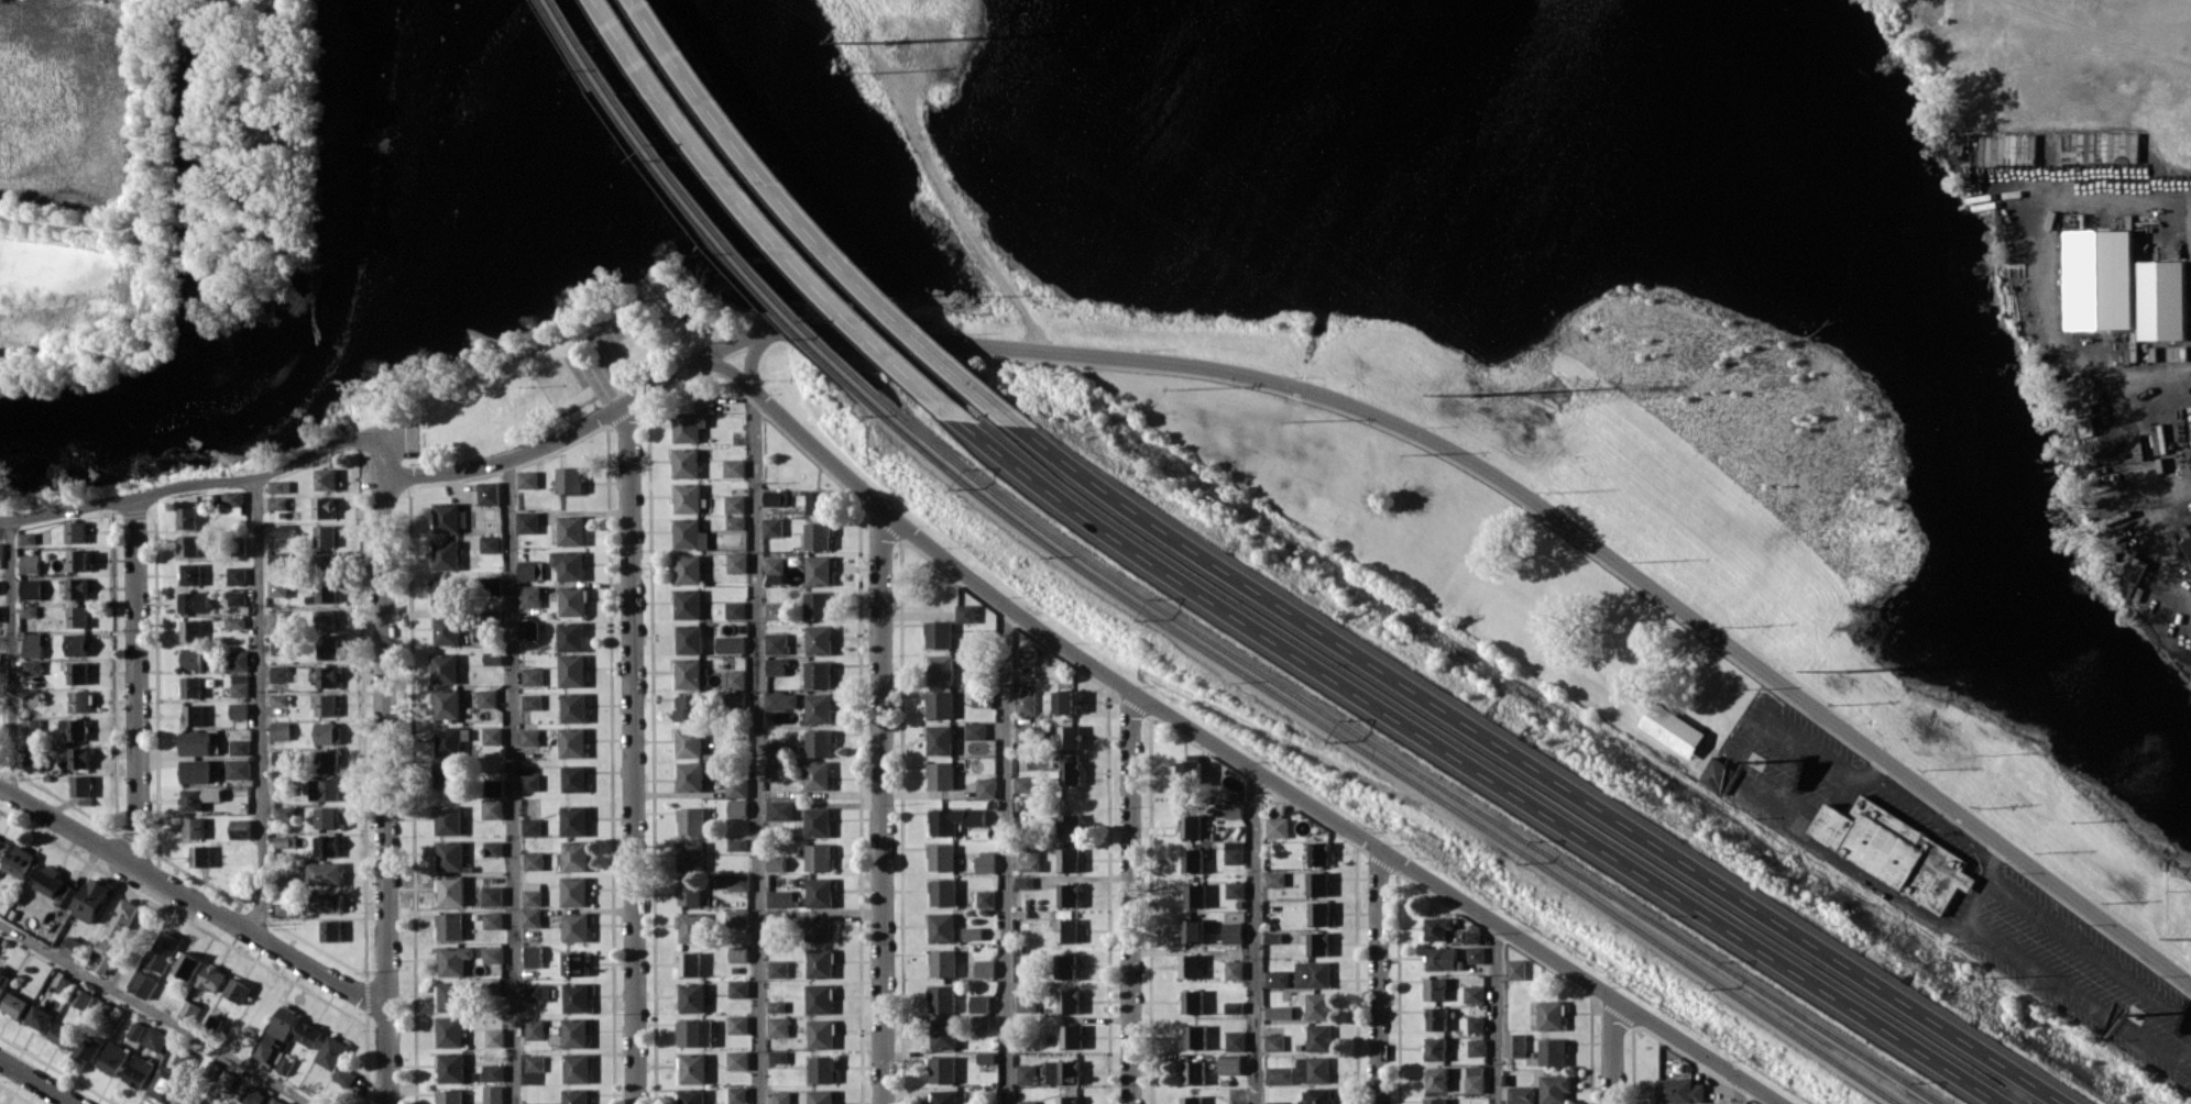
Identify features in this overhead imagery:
road: (2099, 32)
power tower: (887, 42)
road: (149, 117)
wastewater plant: (147, 183)
road: (941, 191)
railway: (709, 213)
railway: (697, 218)
road: (771, 223)
road: (817, 225)
building: (2094, 280)
road: (142, 294)
building: (2159, 299)
building: (678, 306)
road: (702, 313)
river: (412, 321)
road: (682, 334)
park: (565, 358)
power tower: (1471, 394)
power tower: (1556, 394)
river: (1956, 406)
road: (1357, 409)
building: (693, 420)
building: (686, 462)
building: (733, 467)
building: (327, 478)
building: (528, 478)
building: (570, 479)
road: (210, 482)
building: (281, 486)
building: (490, 493)
building: (688, 497)
building: (774, 497)
building: (815, 501)
building: (235, 503)
building: (278, 503)
building: (733, 504)
building: (325, 507)
building: (188, 517)
building: (448, 517)
building: (528, 521)
building: (734, 522)
building: (770, 527)
building: (282, 530)
building: (571, 530)
building: (77, 531)
building: (689, 533)
building: (326, 534)
building: (814, 536)
building: (28, 538)
building: (2190, 539)
building: (491, 543)
building: (190, 545)
building: (2188, 549)
building: (1, 550)
building: (447, 554)
building: (327, 557)
building: (79, 560)
building: (31, 563)
building: (569, 564)
building: (773, 564)
building: (688, 568)
building: (530, 570)
building: (817, 570)
building: (193, 574)
building: (238, 575)
building: (78, 587)
building: (33, 588)
building: (280, 588)
building: (328, 590)
building: (445, 593)
building: (530, 596)
building: (238, 597)
building: (572, 600)
building: (196, 601)
building: (687, 604)
building: (815, 605)
building: (733, 609)
building: (30, 610)
building: (773, 610)
building: (962, 612)
building: (0, 614)
building: (79, 616)
building: (280, 617)
building: (491, 618)
building: (326, 619)
building: (235, 621)
power tower: (1877, 625)
building: (528, 629)
building: (193, 630)
building: (448, 630)
building: (936, 633)
building: (571, 636)
building: (688, 639)
building: (818, 639)
building: (775, 642)
building: (728, 643)
building: (34, 644)
building: (78, 644)
building: (282, 645)
building: (0, 647)
building: (329, 648)
road: (13, 656)
building: (194, 658)
building: (493, 658)
building: (239, 660)
building: (34, 666)
building: (774, 666)
building: (445, 667)
building: (938, 669)
building: (571, 670)
power tower: (1844, 670)
building: (78, 672)
building: (280, 673)
building: (688, 673)
building: (817, 674)
building: (532, 675)
building: (328, 676)
building: (734, 678)
road: (136, 681)
building: (240, 685)
building: (193, 686)
building: (978, 696)
building: (34, 697)
building: (488, 698)
building: (281, 699)
building: (735, 699)
building: (81, 700)
building: (780, 700)
building: (532, 702)
building: (1021, 702)
building: (1062, 702)
building: (447, 703)
road: (261, 705)
building: (326, 705)
building: (936, 705)
building: (573, 707)
building: (688, 707)
building: (817, 708)
building: (239, 710)
building: (195, 715)
road: (755, 715)
building: (34, 726)
building: (1669, 726)
building: (76, 728)
building: (281, 730)
building: (973, 730)
building: (329, 732)
building: (1021, 732)
building: (492, 735)
building: (529, 737)
building: (1065, 737)
building: (936, 739)
building: (450, 740)
building: (197, 742)
building: (572, 742)
building: (688, 742)
building: (818, 742)
building: (241, 747)
building: (774, 749)
road: (1219, 751)
road: (632, 752)
building: (80, 757)
building: (283, 757)
building: (329, 761)
building: (35, 762)
railway: (1404, 764)
railway: (1387, 766)
road: (1537, 766)
road: (1873, 766)
building: (239, 769)
building: (1066, 769)
road: (1479, 769)
road: (385, 770)
building: (774, 770)
building: (197, 771)
building: (1185, 772)
building: (449, 774)
building: (938, 774)
building: (1717, 774)
building: (815, 775)
building: (689, 776)
building: (573, 779)
road: (512, 781)
building: (529, 782)
building: (1019, 783)
building: (83, 785)
building: (494, 786)
building: (736, 786)
building: (984, 787)
building: (326, 790)
building: (200, 797)
road: (878, 805)
building: (493, 808)
building: (736, 808)
building: (1229, 809)
building: (778, 810)
building: (285, 813)
road: (1929, 817)
building: (329, 818)
building: (449, 819)
building: (952, 819)
building: (573, 820)
building: (690, 821)
building: (815, 821)
building: (1065, 825)
building: (1186, 826)
building: (195, 827)
building: (530, 827)
building: (1272, 827)
building: (241, 828)
building: (285, 841)
building: (735, 843)
building: (329, 846)
building: (3, 848)
building: (492, 848)
building: (1888, 850)
building: (1229, 852)
building: (1314, 852)
building: (450, 854)
road: (1003, 854)
building: (201, 855)
building: (576, 855)
building: (690, 855)
building: (817, 857)
building: (940, 857)
building: (1026, 857)
building: (1065, 859)
building: (1187, 859)
building: (20, 861)
building: (534, 861)
building: (983, 861)
road: (1992, 861)
building: (775, 863)
building: (326, 873)
building: (1271, 879)
building: (737, 882)
building: (1021, 882)
building: (1314, 883)
building: (56, 886)
parking lot: (1950, 888)
building: (451, 890)
building: (1231, 890)
building: (573, 891)
building: (819, 892)
building: (941, 892)
building: (533, 893)
building: (689, 893)
building: (1065, 894)
building: (492, 895)
building: (1191, 895)
road: (1128, 897)
building: (780, 898)
building: (983, 898)
building: (92, 899)
road: (194, 899)
building: (328, 902)
building: (286, 903)
building: (1315, 913)
building: (530, 917)
building: (736, 917)
building: (493, 920)
building: (450, 926)
building: (576, 926)
building: (119, 927)
building: (691, 927)
building: (818, 927)
building: (940, 927)
building: (1433, 927)
building: (331, 930)
building: (1064, 930)
building: (1188, 930)
building: (971, 932)
building: (1229, 932)
road: (1250, 937)
building: (1314, 943)
building: (73, 946)
building: (163, 950)
road: (2089, 951)
building: (737, 953)
building: (493, 954)
building: (1471, 954)
building: (533, 956)
building: (1437, 958)
building: (454, 959)
building: (819, 962)
building: (942, 962)
building: (576, 963)
building: (689, 963)
building: (188, 964)
building: (1062, 964)
building: (1186, 965)
building: (983, 968)
building: (777, 969)
building: (1511, 969)
building: (1230, 970)
building: (1308, 974)
road: (1373, 975)
building: (3, 978)
building: (212, 978)
building: (1273, 979)
road: (2052, 981)
building: (144, 984)
building: (66, 985)
building: (738, 987)
building: (1431, 989)
building: (238, 990)
building: (538, 992)
building: (1470, 993)
building: (452, 996)
building: (577, 996)
building: (83, 997)
building: (692, 997)
building: (819, 997)
building: (940, 998)
building: (1066, 1001)
building: (1023, 1002)
building: (1188, 1002)
building: (978, 1003)
building: (15, 1004)
building: (1314, 1005)
building: (776, 1006)
building: (1230, 1007)
building: (190, 1009)
building: (1275, 1012)
road: (1491, 1013)
road: (154, 1014)
building: (1547, 1014)
building: (41, 1017)
building: (1433, 1018)
building: (979, 1023)
building: (737, 1024)
building: (1471, 1024)
building: (777, 1026)
building: (535, 1029)
building: (277, 1031)
building: (450, 1031)
building: (576, 1033)
building: (694, 1033)
building: (942, 1033)
building: (63, 1034)
building: (309, 1034)
building: (820, 1034)
building: (1070, 1036)
building: (495, 1037)
building: (1193, 1037)
building: (1315, 1037)
building: (156, 1039)
building: (1233, 1040)
building: (1270, 1042)
building: (1511, 1045)
building: (1472, 1047)
building: (88, 1048)
building: (1432, 1048)
road: (1607, 1050)
building: (1548, 1051)
building: (332, 1052)
building: (777, 1057)
building: (114, 1058)
building: (185, 1058)
building: (984, 1058)
building: (737, 1060)
building: (535, 1062)
building: (1227, 1063)
building: (285, 1064)
building: (452, 1067)
building: (577, 1068)
building: (693, 1068)
building: (822, 1069)
building: (941, 1069)
building: (1310, 1069)
road: (2189, 1069)
building: (140, 1071)
building: (1061, 1071)
building: (1192, 1071)
building: (493, 1072)
building: (1025, 1073)
building: (1275, 1075)
building: (344, 1077)
building: (1471, 1078)
building: (1433, 1079)
building: (227, 1080)
road: (37, 1081)
building: (165, 1083)
building: (1551, 1089)
road: (1734, 1090)
building: (1675, 1091)
building: (493, 1094)
building: (1516, 1094)
building: (253, 1095)
building: (576, 1095)
building: (737, 1095)
building: (1313, 1095)
building: (450, 1096)
building: (691, 1096)
building: (820, 1096)
building: (943, 1096)
building: (780, 1097)
building: (186, 1099)
building: (1065, 1100)
building: (1188, 1100)
building: (276, 1101)
building: (1432, 1101)
building: (1025, 1102)
building: (1272, 1102)
building: (206, 1103)
building: (219, 1103)
building: (1233, 1103)

